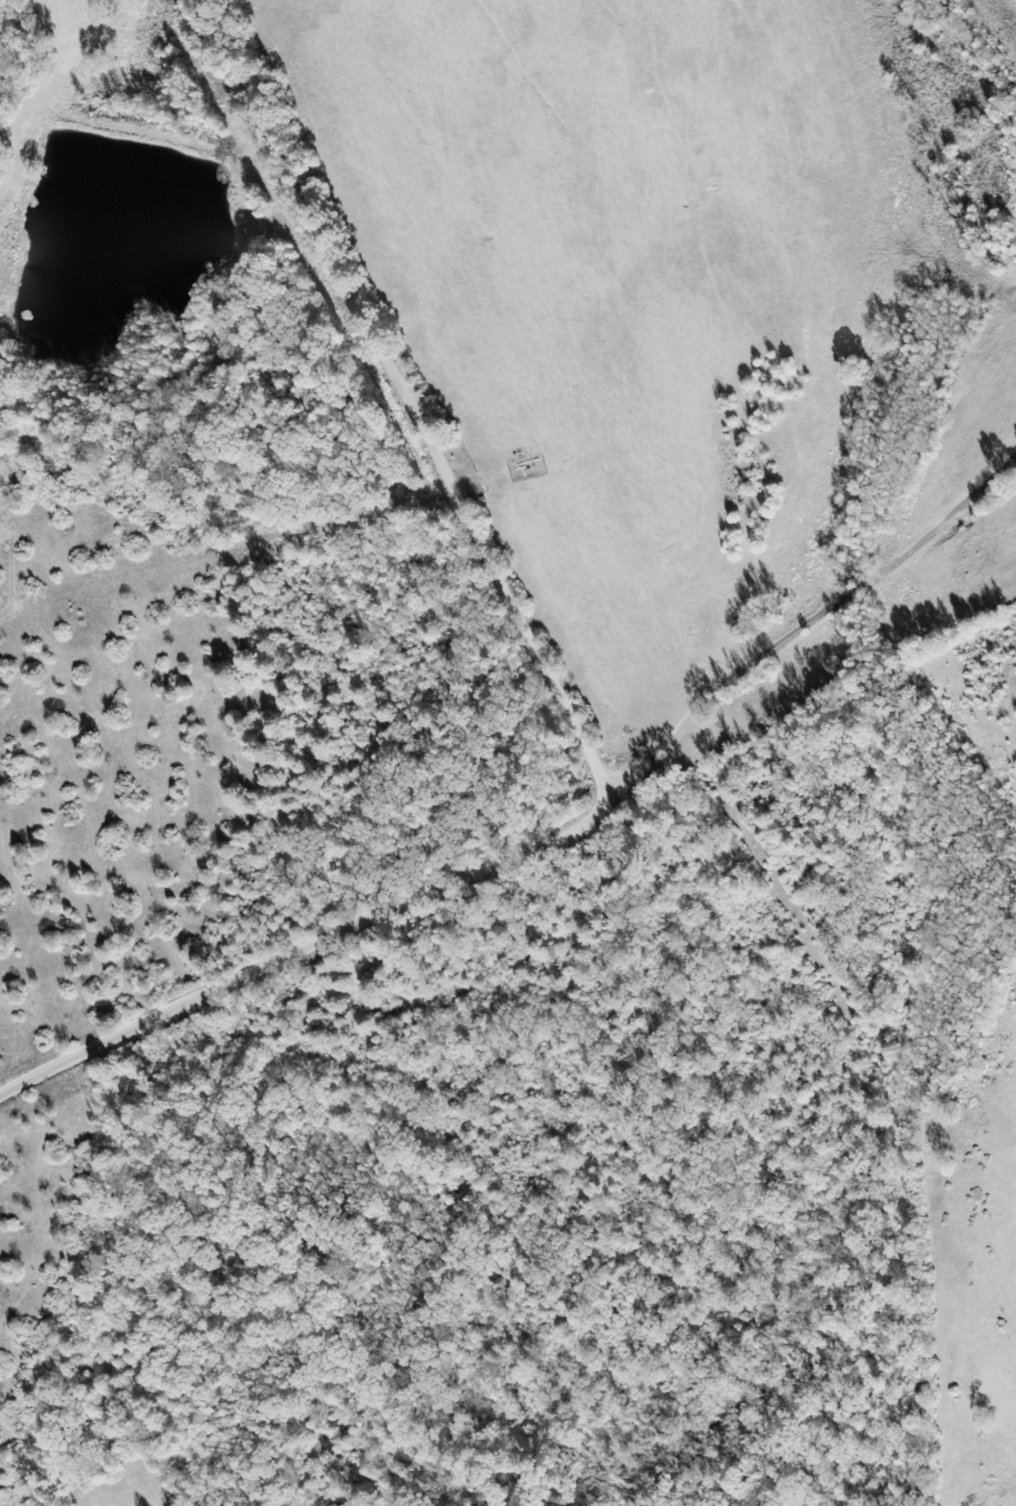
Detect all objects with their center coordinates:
road: (406, 394)
road: (808, 619)
road: (305, 946)

